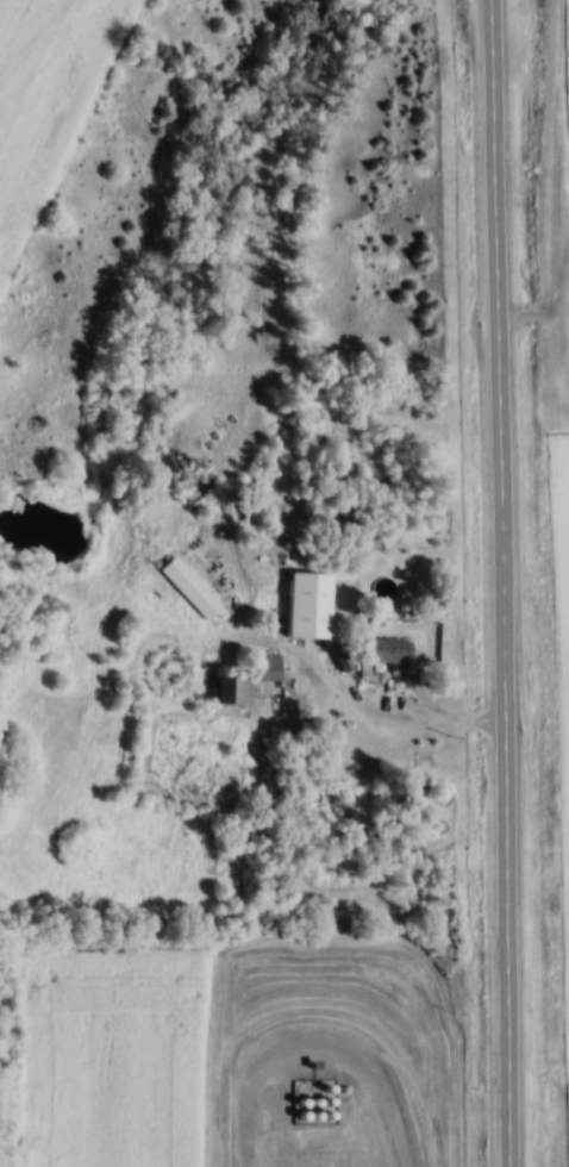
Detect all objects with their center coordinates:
road: (504, 582)
building: (189, 587)
building: (307, 606)
building: (392, 648)
building: (268, 667)
road: (392, 720)
building: (426, 760)
road: (318, 1049)

